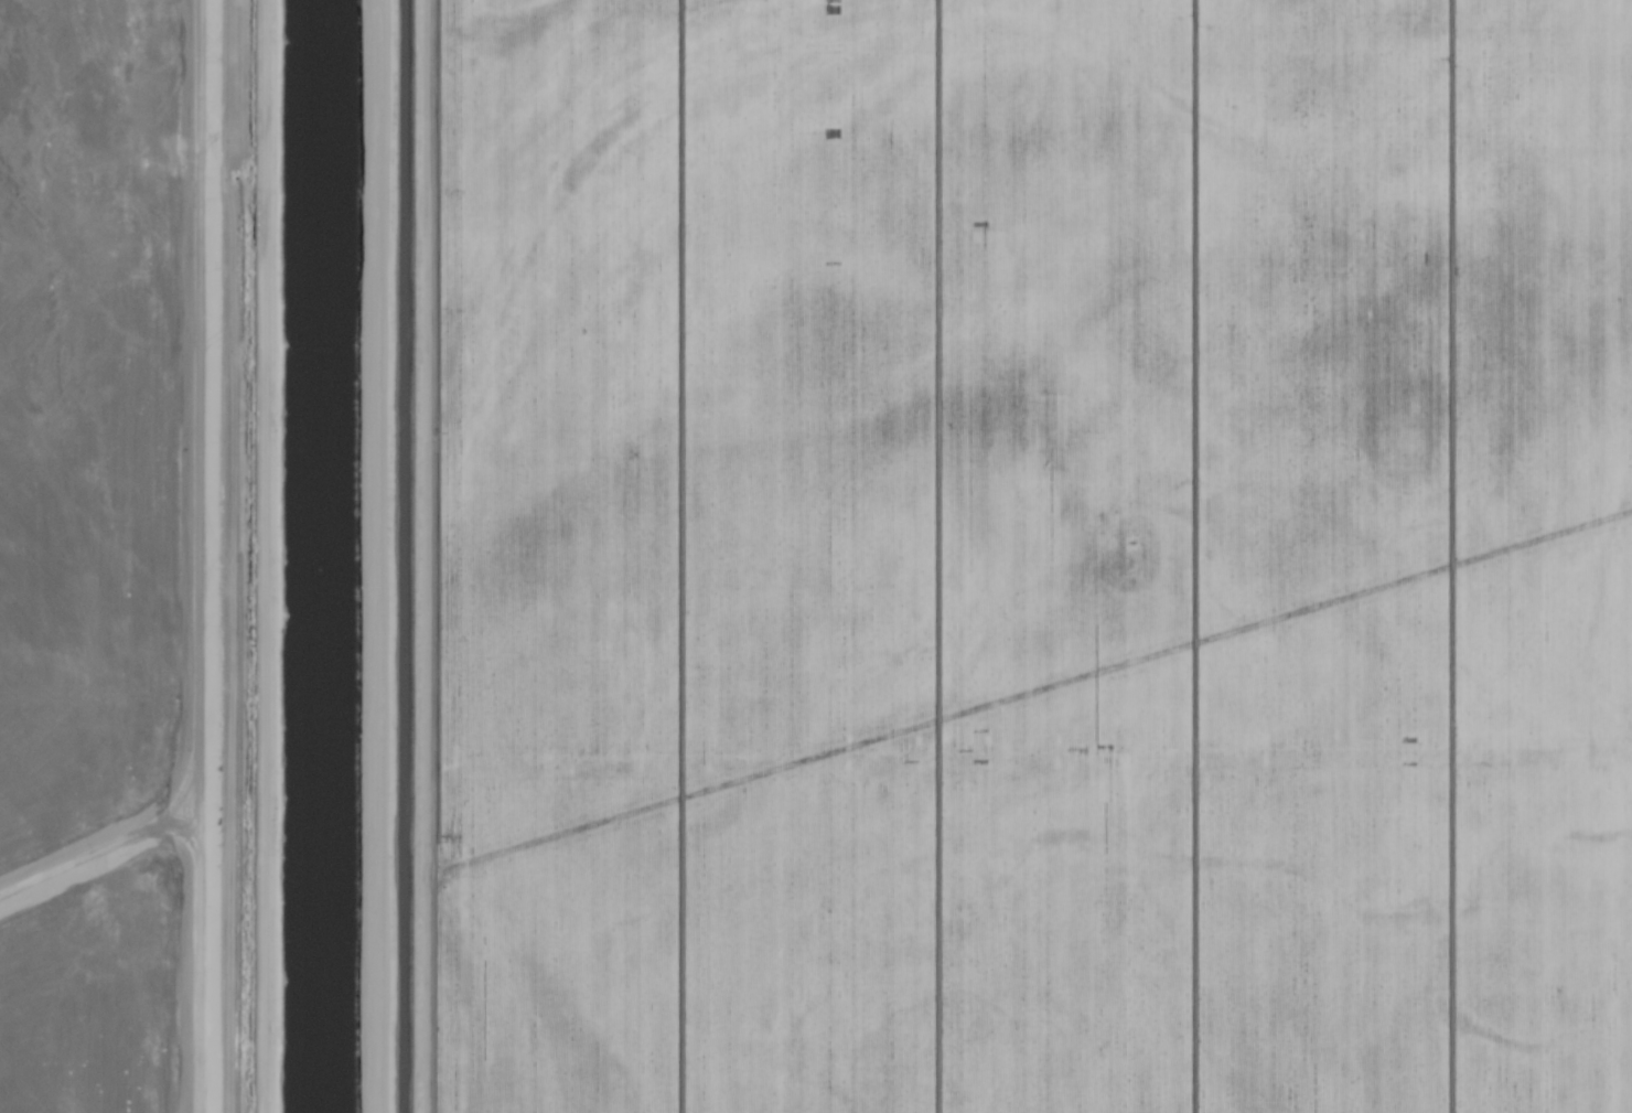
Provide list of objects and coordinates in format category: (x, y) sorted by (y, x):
road: (222, 556)
road: (341, 556)

